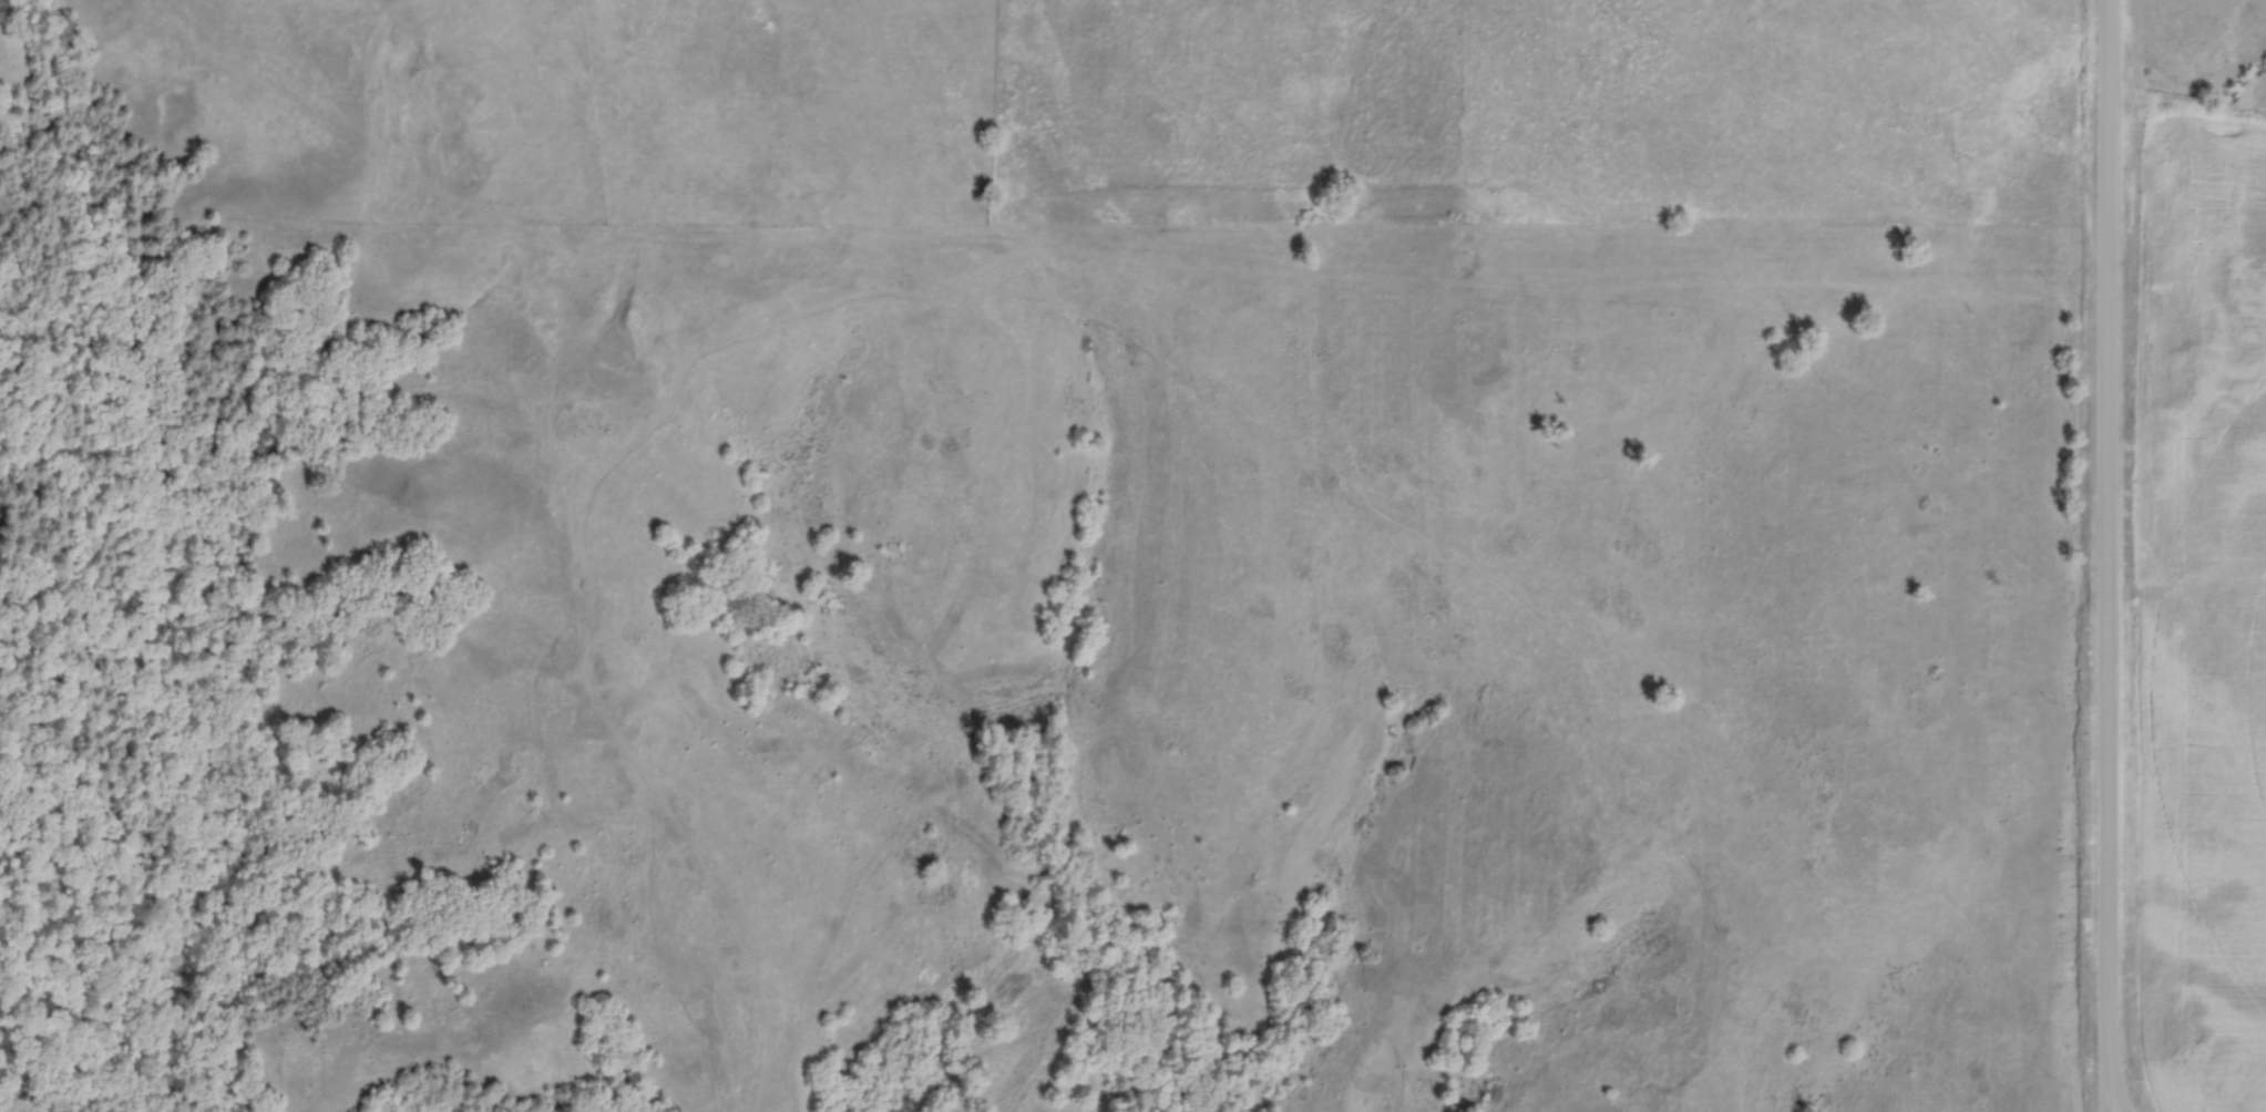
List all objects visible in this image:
road: (2108, 533)
road: (2108, 1089)
road: (2121, 1089)

